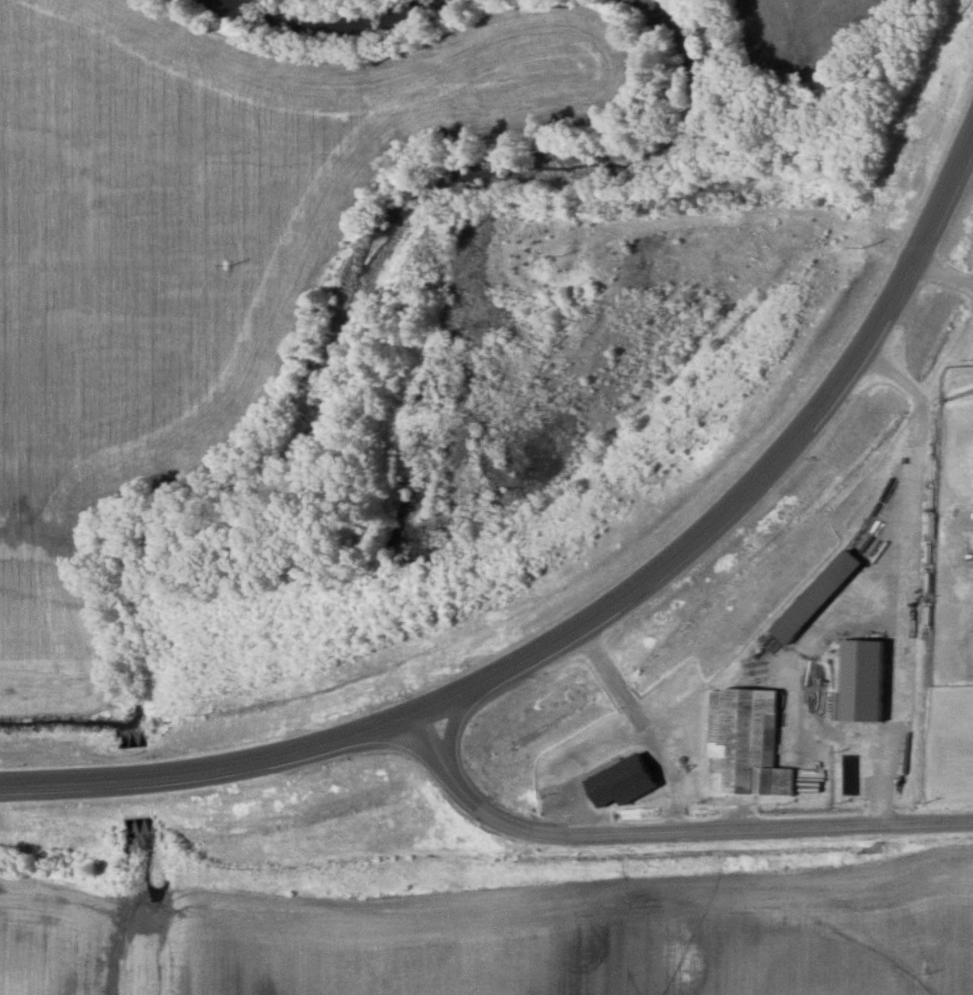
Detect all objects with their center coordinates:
crop: (195, 260)
building: (809, 597)
road: (591, 618)
building: (856, 681)
building: (744, 743)
building: (615, 783)
road: (668, 831)
crop: (502, 938)

